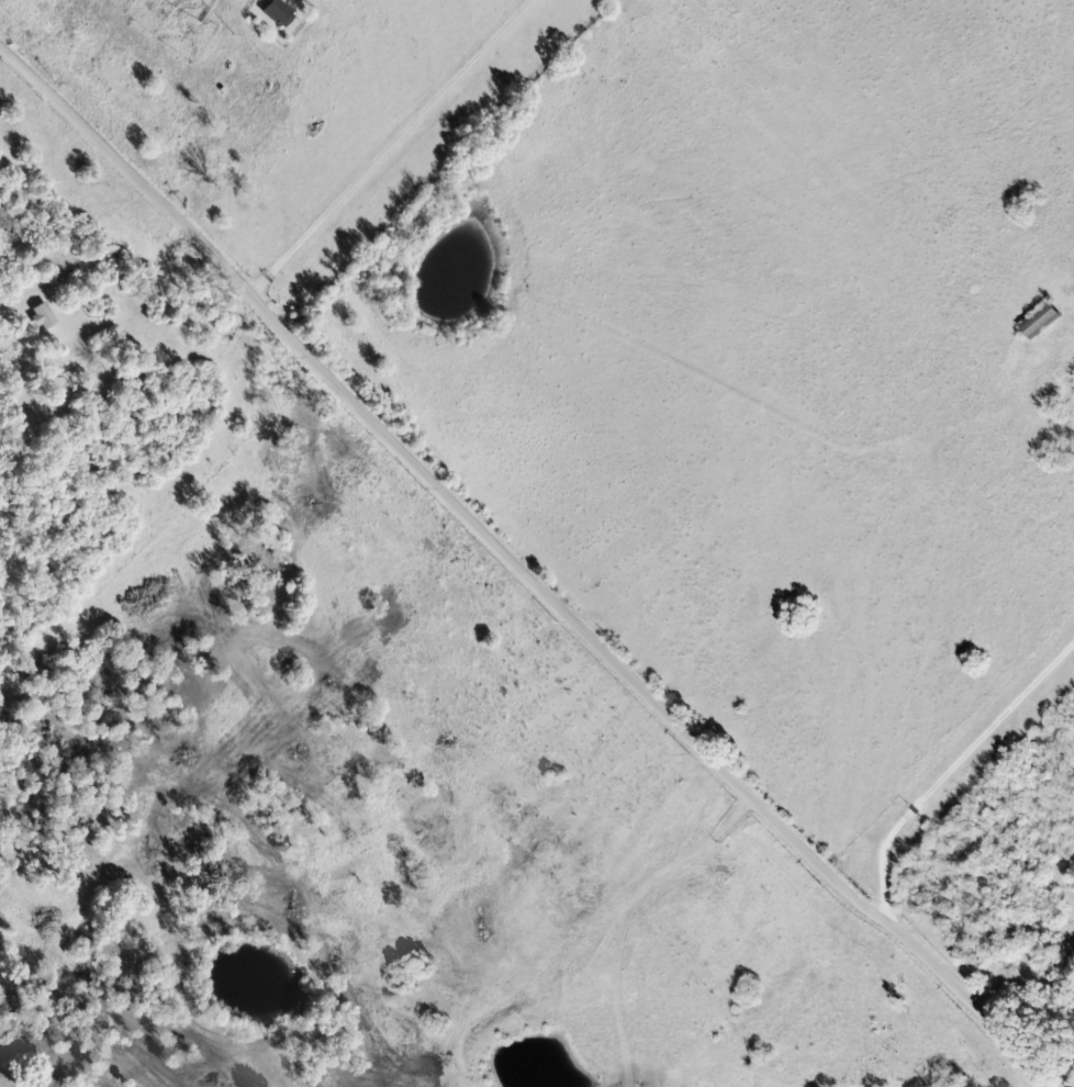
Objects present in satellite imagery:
building: (282, 13)
building: (46, 316)
road: (439, 482)
road: (951, 771)
road: (975, 1000)
road: (862, 1009)

